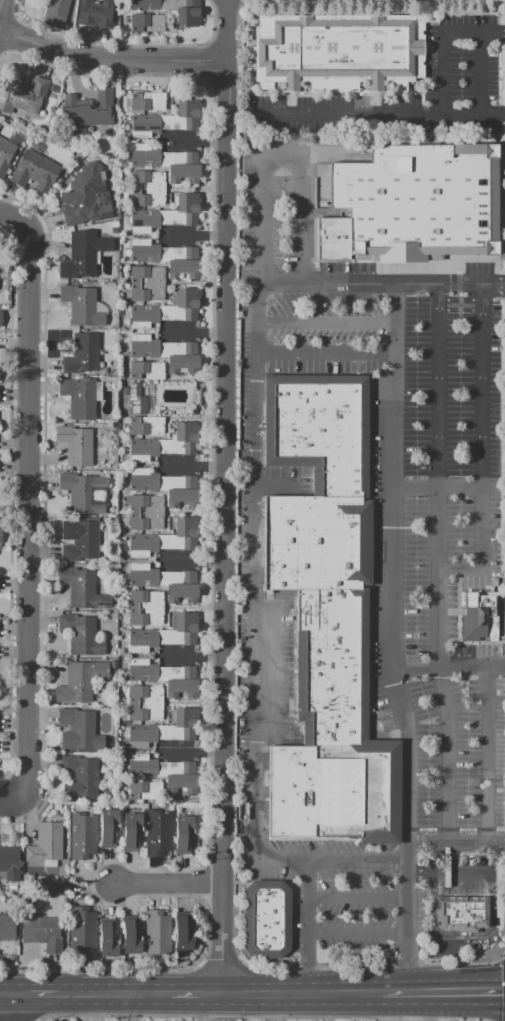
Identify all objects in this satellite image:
road: (0, 1)
park: (361, 3)
building: (144, 5)
building: (182, 10)
building: (55, 11)
building: (95, 13)
building: (146, 23)
road: (443, 41)
building: (338, 52)
parking lot: (463, 55)
road: (112, 60)
road: (481, 72)
building: (29, 95)
building: (147, 100)
building: (87, 111)
building: (186, 114)
road: (379, 115)
building: (0, 123)
building: (151, 124)
road: (253, 127)
road: (195, 141)
road: (236, 145)
building: (6, 154)
road: (282, 154)
building: (148, 156)
building: (183, 166)
building: (34, 171)
building: (147, 179)
building: (84, 195)
building: (148, 196)
building: (423, 204)
building: (188, 208)
road: (261, 219)
road: (302, 219)
building: (151, 220)
road: (194, 235)
building: (335, 240)
building: (147, 252)
building: (83, 254)
building: (183, 261)
building: (147, 275)
road: (325, 284)
road: (437, 284)
road: (493, 284)
building: (147, 293)
building: (185, 302)
building: (81, 306)
building: (147, 315)
building: (0, 318)
road: (325, 324)
road: (195, 330)
building: (146, 347)
road: (324, 353)
building: (81, 355)
building: (182, 356)
building: (146, 370)
building: (79, 398)
building: (135, 399)
building: (146, 425)
building: (186, 439)
building: (76, 445)
building: (150, 449)
road: (481, 449)
road: (193, 466)
building: (146, 481)
road: (276, 485)
road: (436, 488)
building: (181, 490)
building: (82, 493)
road: (223, 495)
road: (29, 499)
building: (146, 504)
road: (254, 514)
building: (145, 521)
building: (182, 533)
building: (0, 534)
building: (79, 540)
building: (145, 545)
road: (193, 560)
parking lot: (376, 561)
building: (145, 576)
road: (438, 578)
building: (181, 585)
building: (82, 590)
building: (146, 599)
building: (325, 614)
building: (479, 616)
building: (146, 617)
building: (184, 630)
building: (80, 635)
road: (390, 638)
building: (145, 640)
road: (447, 664)
building: (146, 671)
building: (180, 680)
building: (80, 681)
building: (145, 695)
building: (145, 712)
building: (183, 726)
building: (80, 730)
building: (145, 736)
building: (175, 743)
road: (487, 752)
building: (145, 767)
building: (183, 776)
building: (80, 778)
building: (142, 789)
road: (10, 798)
building: (108, 827)
road: (256, 828)
building: (131, 831)
building: (157, 833)
building: (183, 833)
building: (82, 836)
road: (456, 841)
building: (45, 843)
road: (358, 860)
building: (9, 862)
road: (450, 873)
road: (167, 882)
road: (357, 899)
road: (504, 911)
building: (462, 912)
building: (267, 919)
road: (307, 925)
building: (7, 927)
building: (81, 930)
building: (42, 932)
building: (157, 933)
road: (357, 933)
building: (183, 935)
building: (130, 936)
building: (109, 938)
road: (504, 944)
road: (236, 951)
road: (501, 953)
road: (464, 957)
road: (404, 960)
road: (354, 962)
road: (307, 964)
road: (504, 989)
road: (248, 991)
road: (328, 991)
road: (394, 991)
road: (418, 991)
road: (467, 991)
road: (115, 992)
road: (196, 992)
road: (36, 993)
road: (6, 994)
road: (197, 1006)
road: (275, 1006)
road: (389, 1006)
road: (430, 1006)
road: (12, 1007)
road: (261, 1016)
road: (23, 1017)

